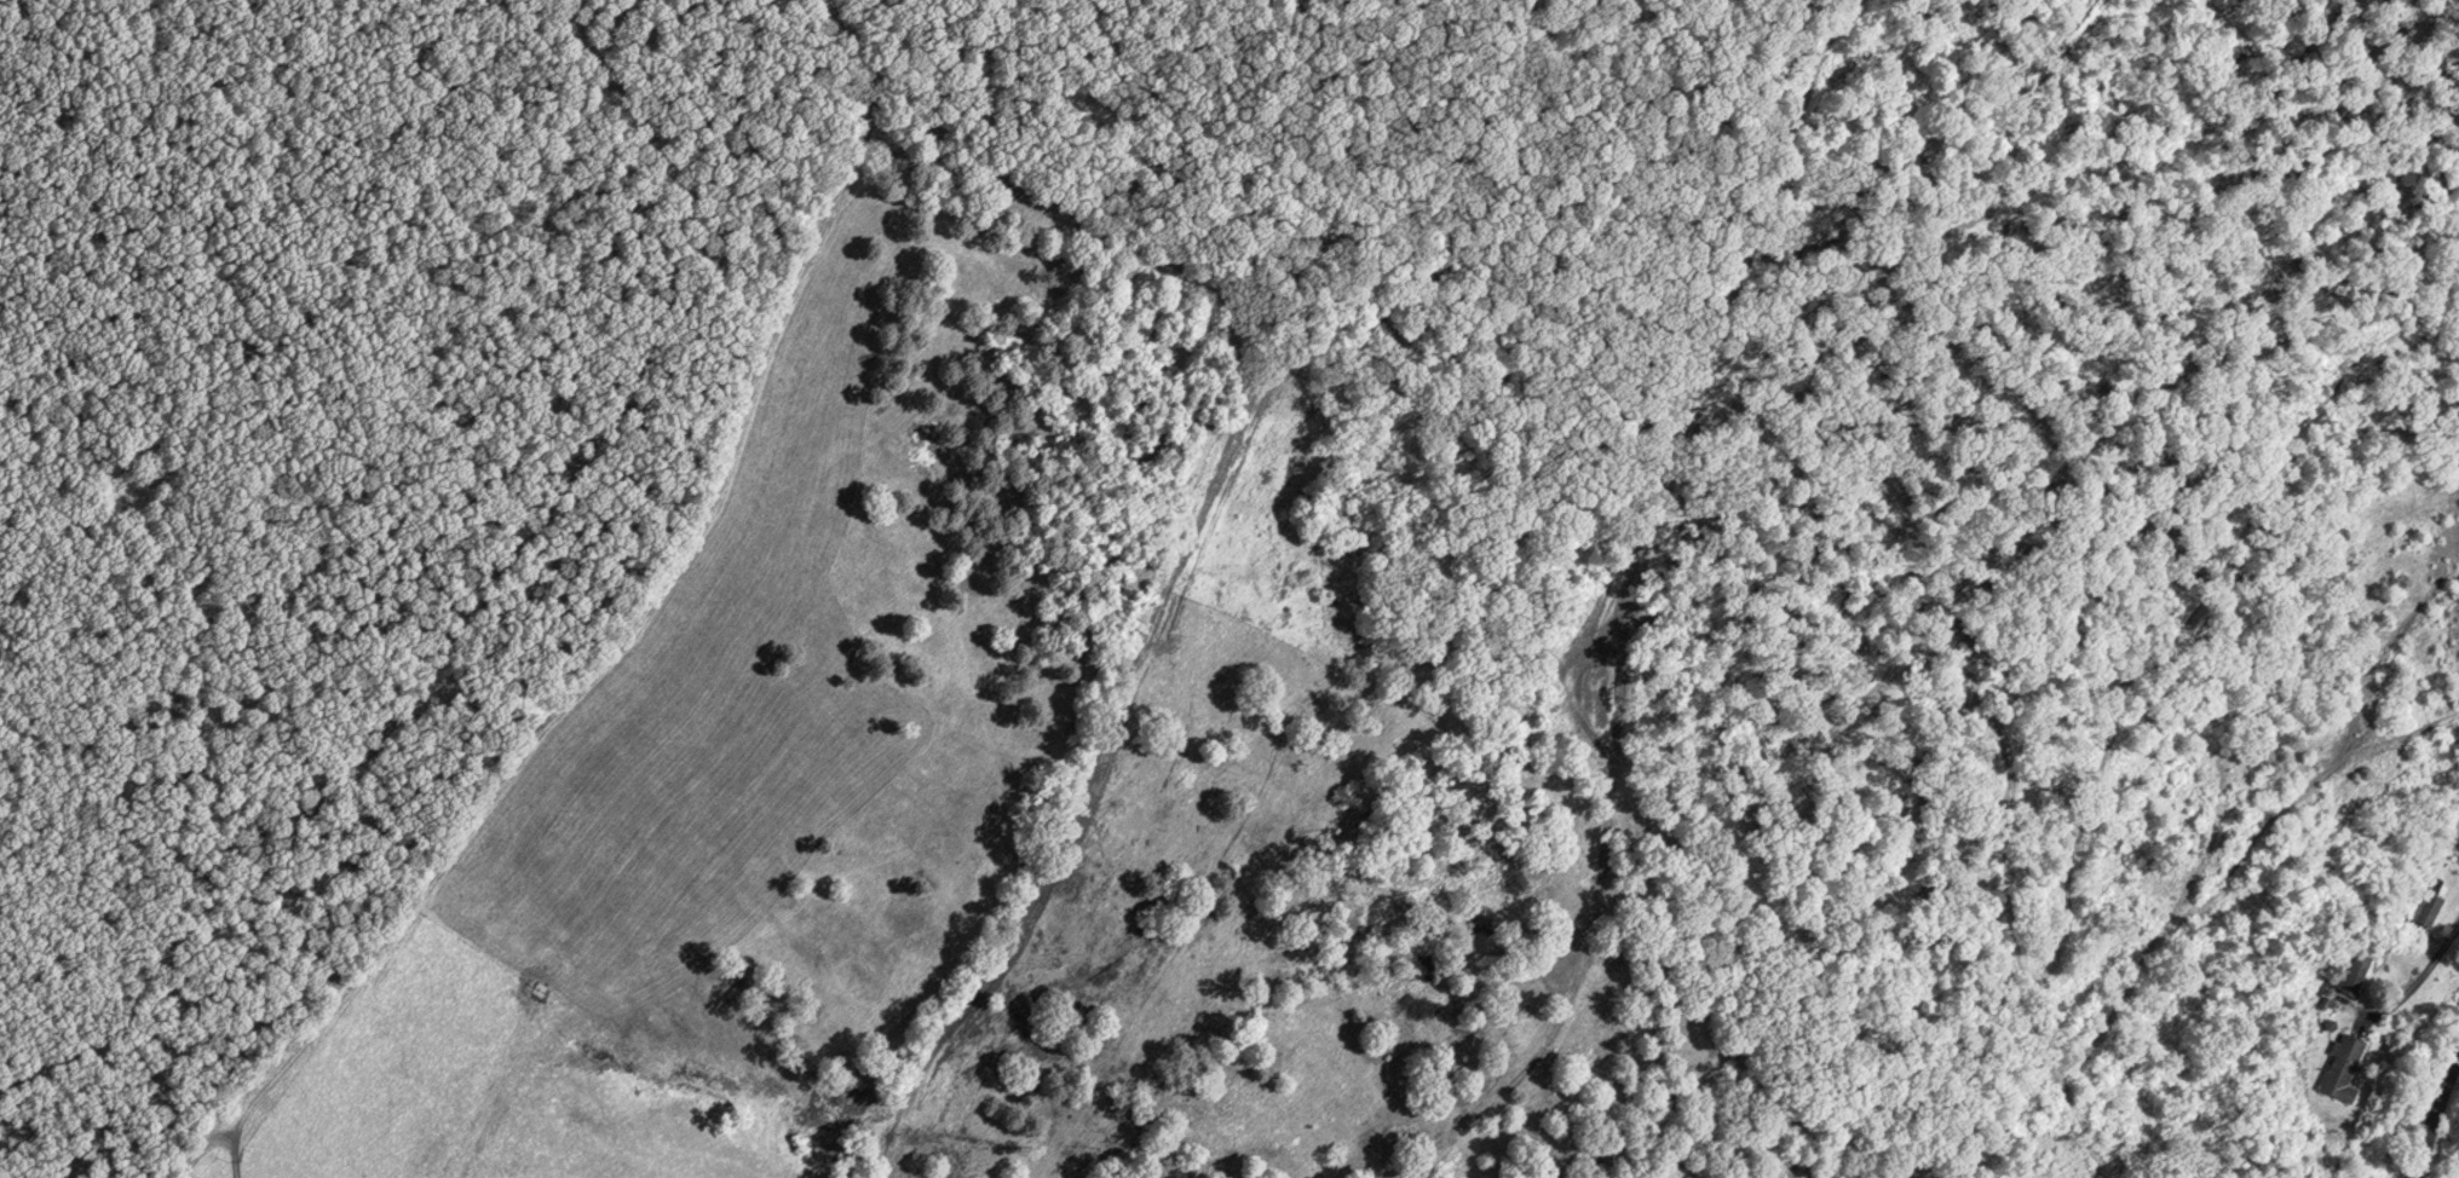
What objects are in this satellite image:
building: (2426, 907)
building: (2359, 972)
building: (2345, 1066)
road: (2440, 1119)

